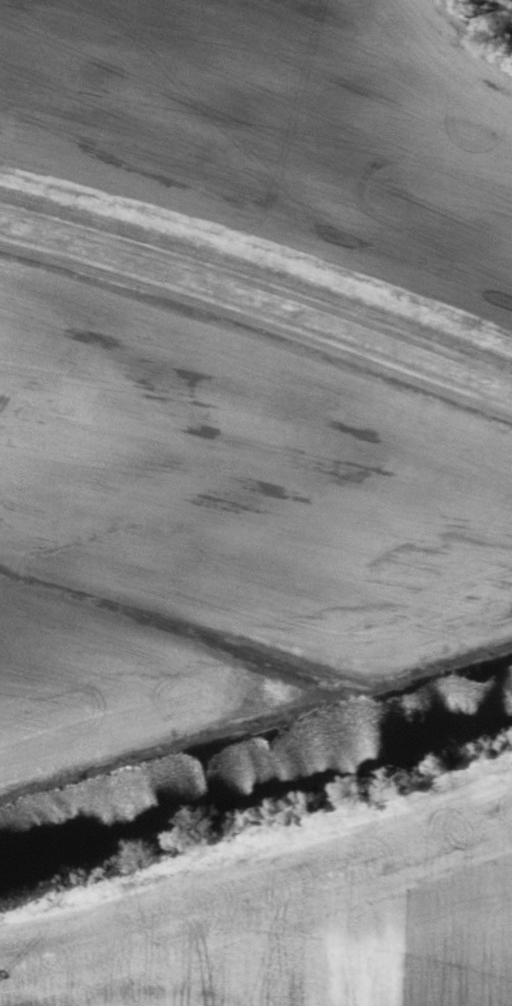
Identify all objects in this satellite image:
crop: (282, 130)
road: (258, 285)
crop: (215, 511)
crop: (297, 922)

